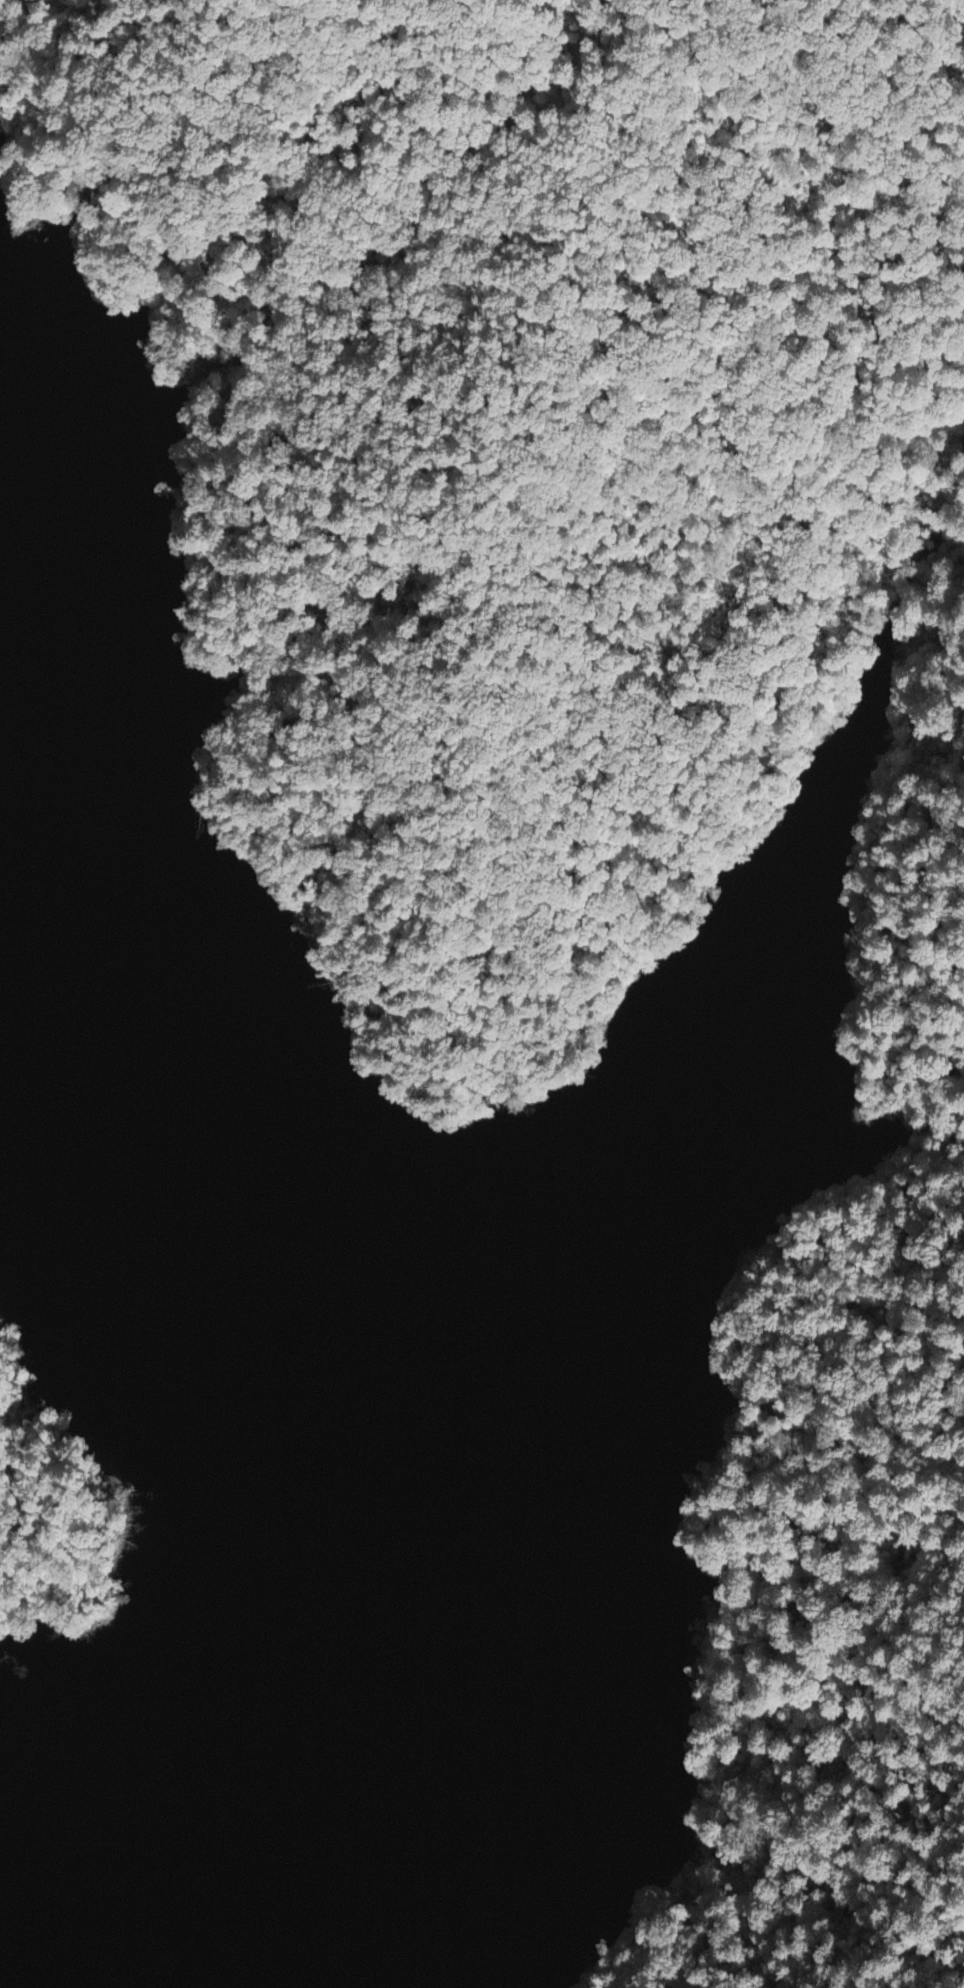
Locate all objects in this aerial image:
road: (812, 498)
road: (58, 1487)

